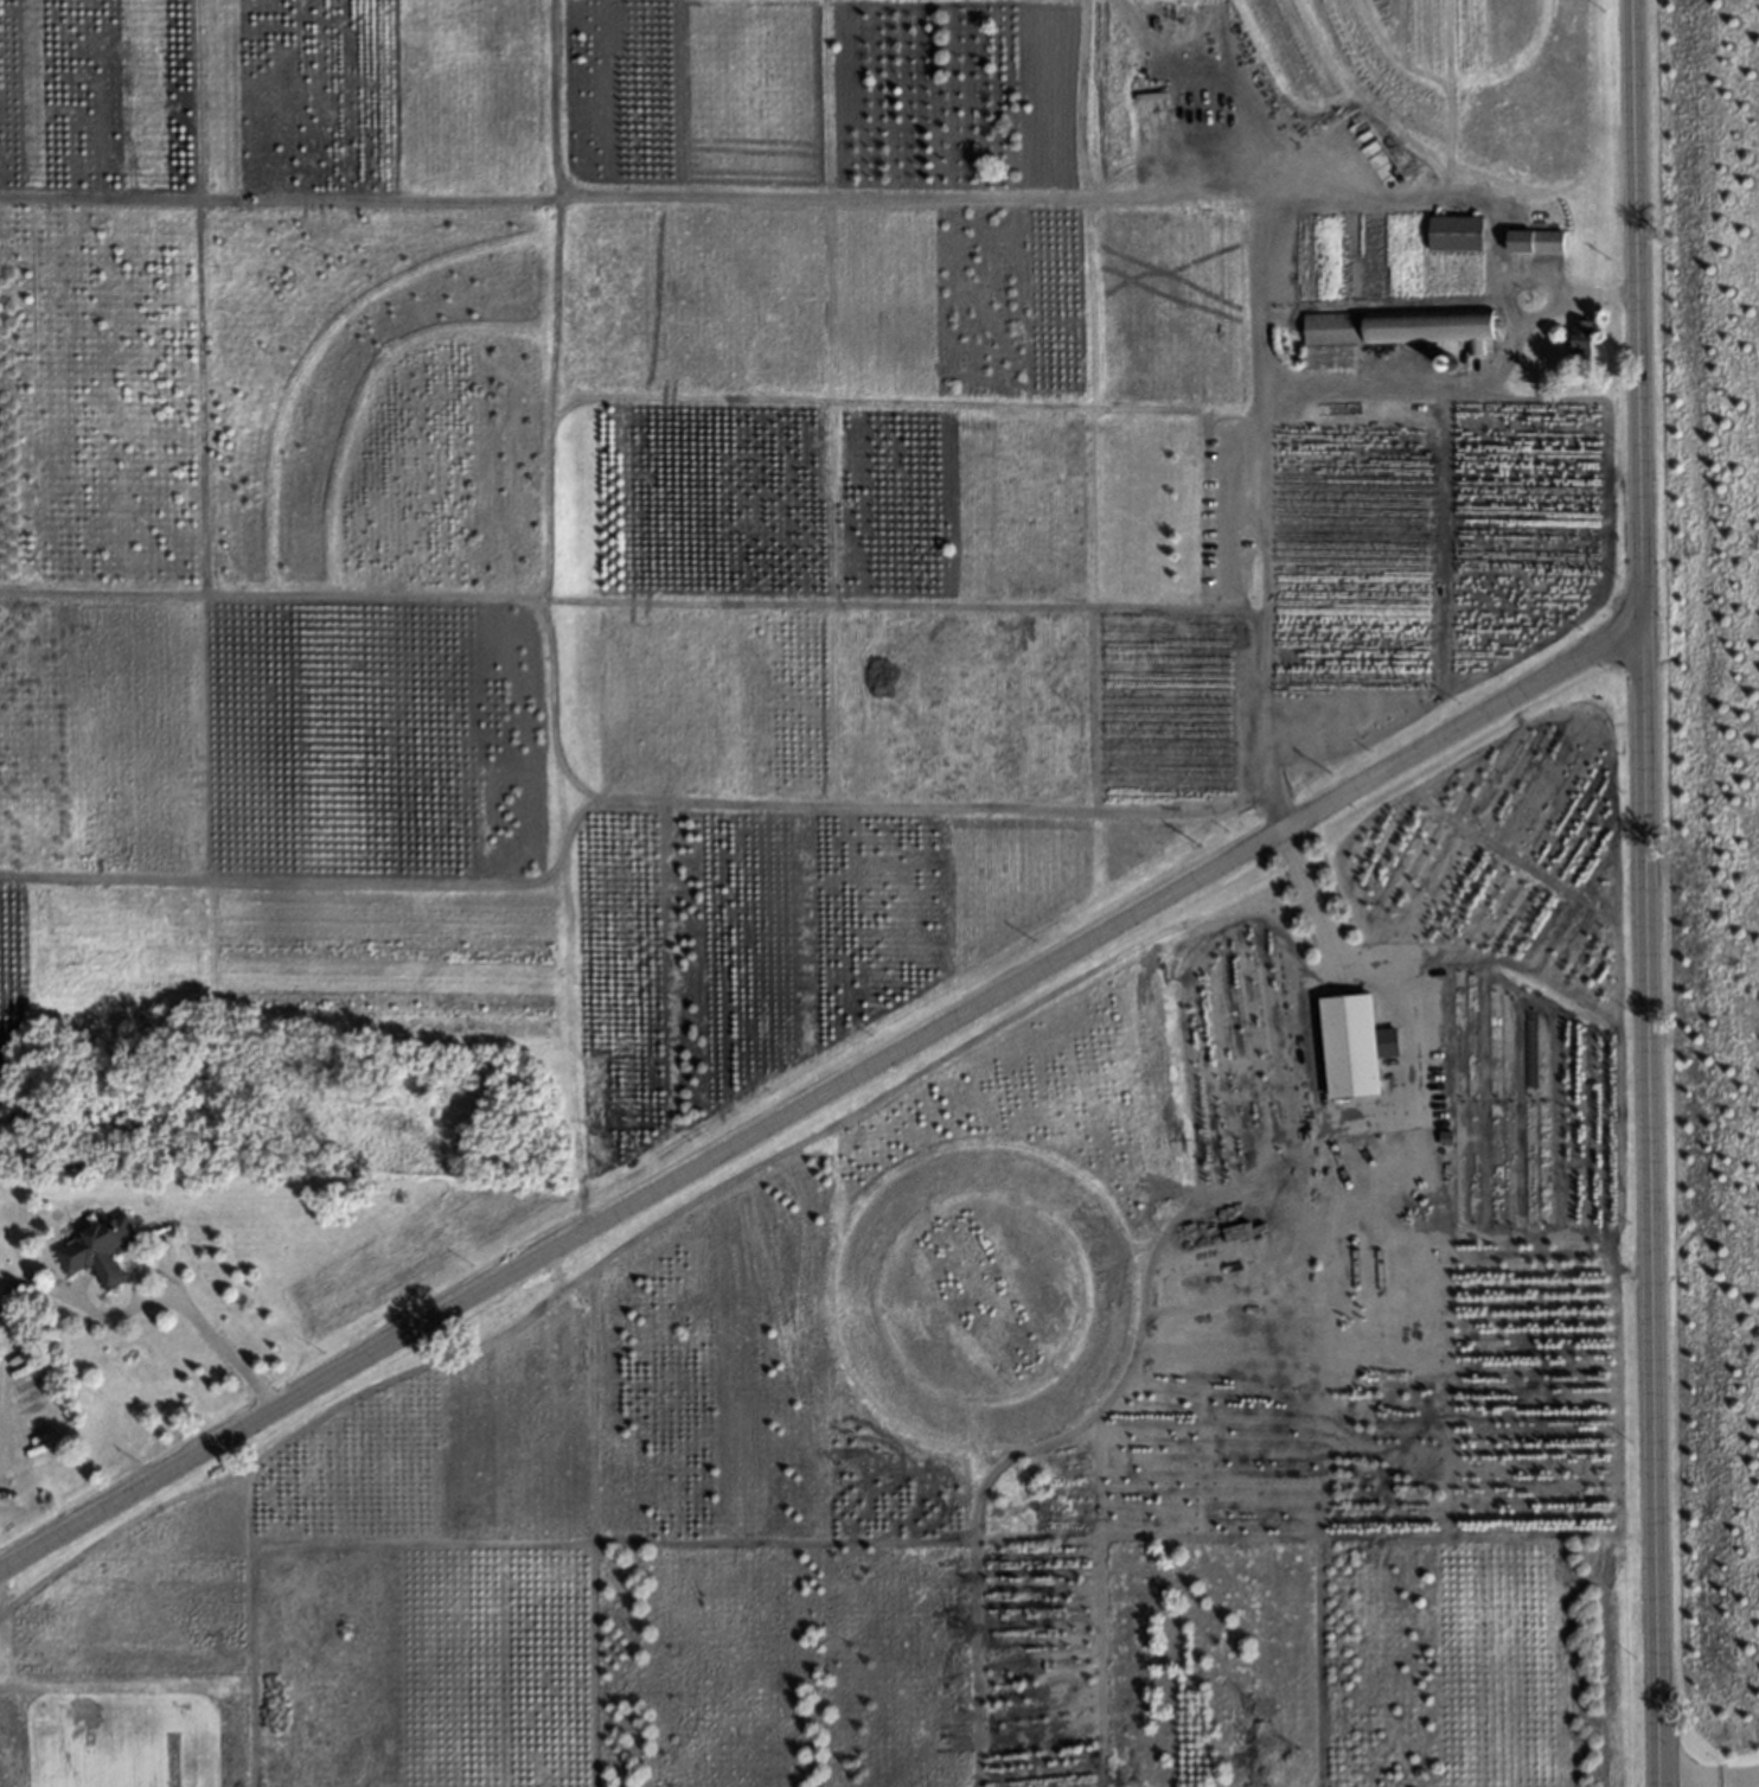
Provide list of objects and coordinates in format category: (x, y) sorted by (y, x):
building: (1456, 235)
building: (1535, 242)
building: (1387, 334)
building: (1578, 337)
building: (1441, 365)
water tower: (1445, 365)
road: (1254, 415)
road: (1640, 893)
building: (1355, 1048)
road: (1416, 1072)
road: (817, 1096)
building: (1440, 1132)
building: (96, 1249)
road: (68, 1297)
road: (216, 1342)
road: (1707, 1778)

